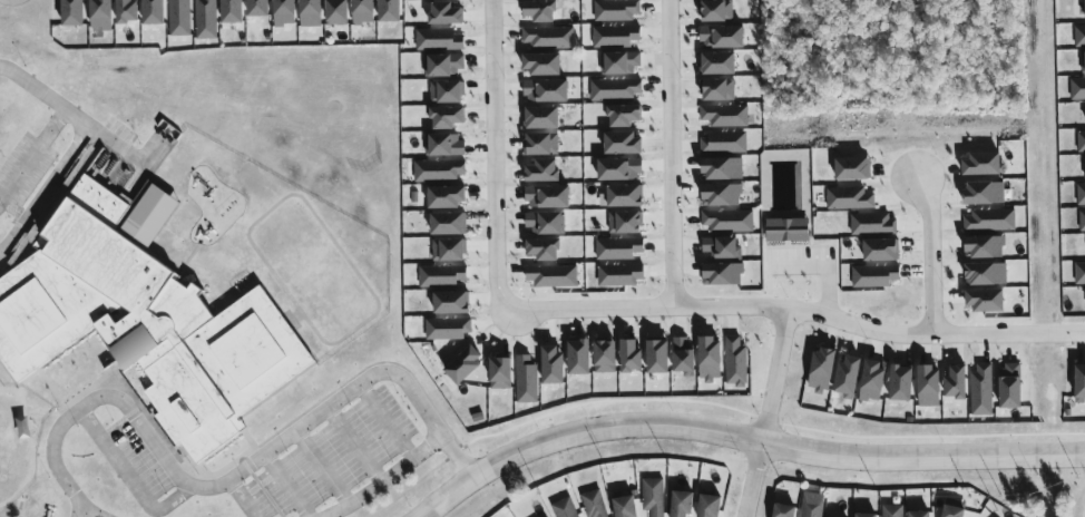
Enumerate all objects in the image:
building: (258, 8)
building: (616, 10)
building: (127, 11)
building: (232, 11)
building: (390, 11)
building: (540, 11)
building: (716, 11)
building: (72, 12)
building: (154, 12)
building: (284, 12)
building: (336, 12)
building: (363, 12)
building: (311, 13)
building: (100, 14)
building: (446, 14)
building: (179, 18)
building: (205, 19)
building: (548, 37)
building: (615, 37)
building: (1079, 37)
building: (722, 38)
building: (438, 40)
building: (620, 62)
building: (1083, 62)
building: (541, 65)
building: (719, 65)
building: (443, 66)
building: (615, 89)
building: (1077, 89)
building: (719, 90)
building: (546, 91)
building: (446, 92)
road: (74, 114)
building: (624, 116)
building: (724, 116)
building: (447, 118)
building: (541, 118)
building: (724, 143)
building: (1081, 143)
building: (624, 144)
building: (542, 145)
building: (446, 146)
road: (672, 153)
road: (35, 159)
road: (498, 160)
building: (1084, 160)
building: (981, 165)
building: (723, 169)
building: (853, 169)
building: (438, 170)
building: (619, 170)
building: (542, 172)
parking lot: (26, 173)
road: (46, 189)
building: (984, 194)
building: (1081, 195)
building: (722, 196)
building: (447, 197)
building: (548, 197)
building: (623, 197)
building: (849, 198)
building: (727, 221)
building: (990, 221)
building: (1082, 222)
building: (545, 223)
building: (625, 223)
building: (448, 224)
building: (873, 224)
building: (788, 231)
building: (985, 247)
building: (618, 248)
building: (722, 248)
building: (544, 250)
building: (449, 251)
building: (881, 251)
road: (932, 255)
building: (1079, 273)
building: (551, 275)
building: (620, 275)
building: (722, 275)
building: (986, 275)
building: (441, 276)
building: (874, 276)
building: (985, 301)
building: (451, 303)
road: (655, 306)
building: (147, 313)
building: (448, 329)
road: (935, 335)
building: (683, 357)
building: (579, 358)
building: (605, 358)
building: (631, 358)
building: (658, 358)
building: (711, 360)
building: (735, 362)
building: (465, 365)
building: (553, 365)
building: (822, 371)
road: (774, 373)
building: (500, 374)
building: (848, 378)
building: (526, 380)
building: (873, 381)
building: (956, 383)
building: (1081, 383)
building: (901, 384)
building: (929, 387)
building: (1010, 387)
building: (981, 390)
road: (387, 421)
road: (743, 437)
road: (358, 445)
parking lot: (335, 457)
parking lot: (139, 458)
road: (323, 467)
road: (232, 476)
road: (753, 478)
road: (130, 480)
road: (387, 481)
road: (290, 484)
building: (653, 496)
road: (242, 497)
building: (682, 503)
building: (594, 504)
building: (625, 506)
building: (708, 506)
building: (564, 508)
building: (811, 508)
building: (784, 510)
building: (892, 510)
building: (952, 510)
road: (88, 511)
building: (920, 514)
building: (867, 515)

